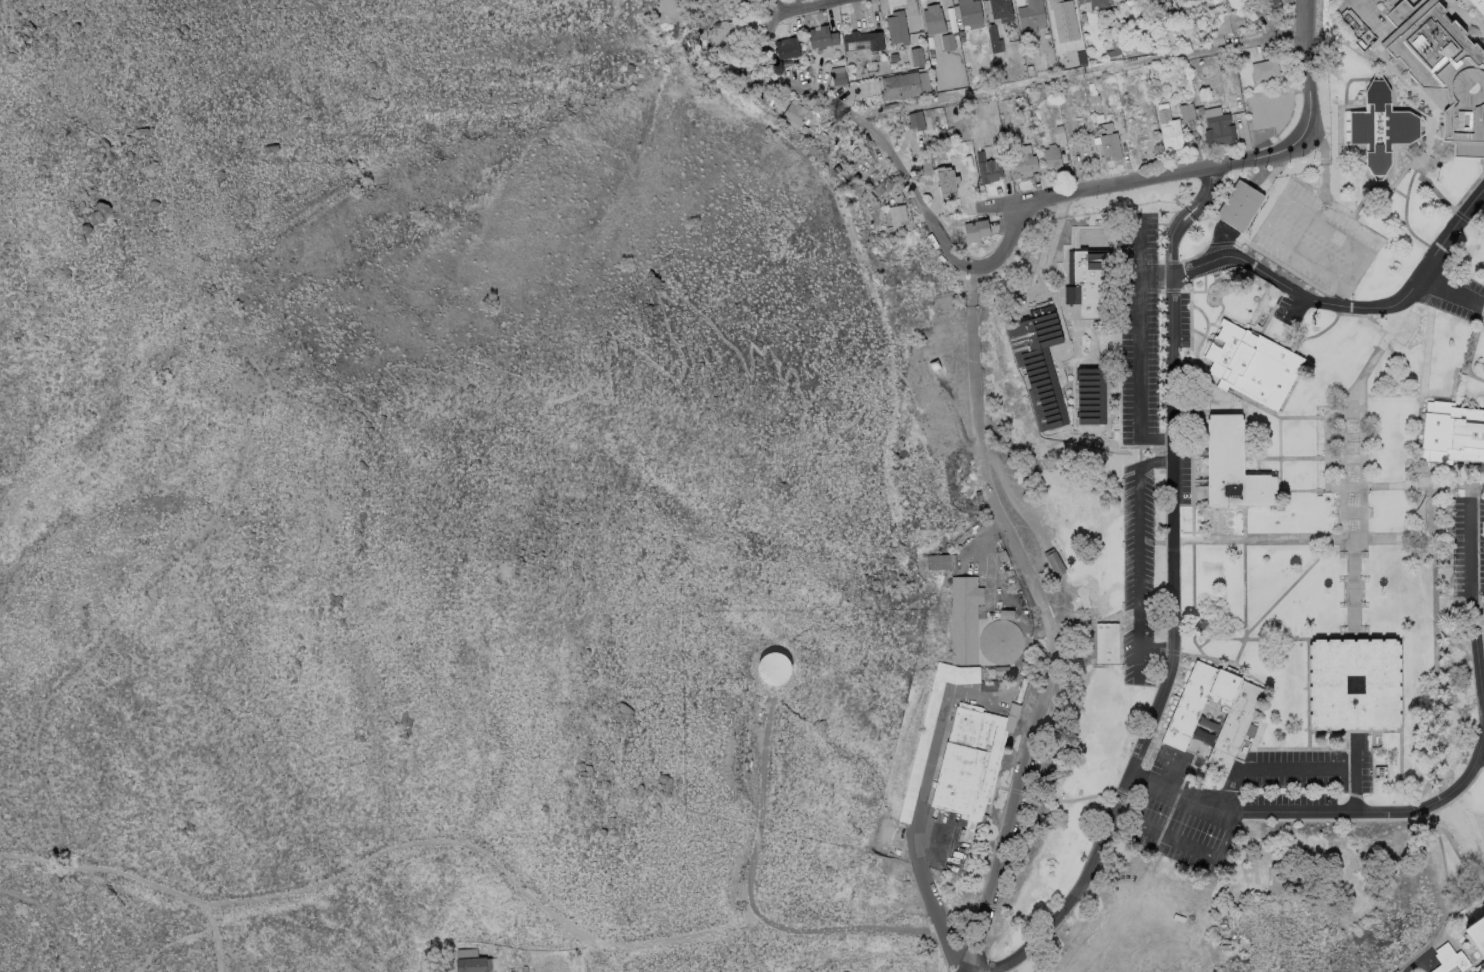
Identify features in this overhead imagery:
building: (1129, 0)
building: (1180, 0)
building: (1190, 0)
building: (1268, 1)
building: (1274, 2)
building: (1096, 3)
building: (748, 4)
building: (1479, 5)
road: (807, 8)
building: (1150, 9)
building: (971, 13)
road: (1469, 15)
building: (1168, 16)
road: (1373, 17)
building: (1031, 18)
building: (1159, 18)
building: (934, 20)
building: (998, 21)
building: (1194, 22)
building: (1226, 26)
building: (898, 28)
building: (726, 31)
building: (1153, 33)
building: (703, 34)
building: (800, 34)
building: (961, 34)
building: (822, 37)
building: (962, 39)
building: (864, 41)
building: (948, 42)
building: (788, 48)
building: (1113, 53)
building: (894, 57)
building: (917, 57)
building: (693, 59)
road: (1305, 65)
building: (700, 67)
building: (775, 68)
building: (728, 69)
building: (1265, 69)
building: (1442, 69)
building: (1204, 70)
building: (1030, 71)
building: (1103, 77)
building: (839, 79)
building: (900, 87)
building: (931, 94)
building: (1092, 94)
road: (680, 109)
building: (1199, 111)
building: (1187, 112)
building: (795, 113)
building: (1276, 113)
road: (853, 116)
building: (916, 121)
building: (1379, 127)
building: (804, 129)
building: (1060, 129)
building: (1220, 130)
building: (1170, 131)
building: (944, 135)
building: (1110, 142)
building: (849, 156)
building: (1052, 158)
building: (843, 159)
building: (1023, 162)
building: (989, 171)
road: (1325, 174)
building: (947, 180)
road: (1124, 184)
building: (884, 186)
road: (1390, 186)
road: (1429, 186)
road: (1203, 192)
road: (1468, 192)
road: (1283, 200)
building: (1239, 204)
road: (1061, 208)
building: (898, 215)
road: (1460, 216)
road: (1476, 226)
building: (976, 230)
road: (1077, 238)
parking lot: (1318, 238)
road: (1222, 241)
road: (1110, 246)
road: (1046, 252)
road: (1114, 253)
road: (858, 254)
road: (1205, 261)
road: (198, 270)
road: (1123, 277)
road: (1155, 277)
road: (669, 278)
road: (349, 279)
building: (1089, 280)
road: (1058, 281)
road: (1062, 286)
road: (1315, 287)
road: (1174, 290)
road: (1207, 292)
road: (1451, 293)
road: (1051, 294)
road: (1208, 294)
parking lot: (1459, 294)
road: (1342, 296)
fountain: (1212, 298)
road: (1309, 304)
road: (1347, 306)
parking lot: (1290, 309)
road: (1398, 311)
road: (1350, 314)
road: (1218, 315)
road: (1203, 317)
parking lot: (1184, 318)
road: (1267, 319)
road: (1376, 323)
road: (1139, 324)
parking lot: (1139, 327)
road: (1191, 330)
road: (1206, 336)
road: (230, 339)
road: (1474, 340)
road: (1077, 343)
road: (1281, 343)
road: (1296, 344)
road: (1066, 351)
building: (1037, 361)
road: (1084, 362)
road: (1202, 363)
building: (934, 364)
building: (1251, 364)
road: (1199, 365)
road: (1399, 367)
road: (748, 369)
road: (1108, 371)
road: (1455, 371)
road: (1363, 372)
road: (973, 376)
road: (936, 379)
road: (1121, 381)
road: (1201, 385)
road: (1421, 394)
building: (1091, 395)
road: (1382, 395)
road: (1433, 398)
road: (1346, 406)
road: (1264, 408)
parking lot: (1225, 409)
road: (1074, 413)
road: (1313, 417)
road: (957, 421)
road: (1114, 427)
road: (1080, 430)
road: (1057, 431)
building: (1452, 433)
road: (1334, 437)
road: (1352, 437)
road: (1110, 438)
road: (1279, 438)
road: (1254, 441)
road: (1179, 453)
road: (1326, 453)
road: (1199, 455)
road: (1248, 458)
road: (1302, 458)
road: (1334, 458)
road: (1352, 458)
building: (1232, 467)
road: (1467, 472)
road: (1448, 474)
road: (1363, 477)
road: (1342, 478)
parking lot: (1185, 481)
road: (1193, 481)
road: (1200, 481)
road: (1413, 485)
road: (1278, 490)
road: (1311, 490)
road: (1470, 492)
building: (1420, 510)
road: (1353, 512)
road: (1192, 520)
road: (1321, 540)
road: (1167, 542)
parking lot: (1468, 545)
road: (1469, 554)
building: (1002, 555)
road: (1137, 557)
building: (1054, 560)
building: (940, 561)
road: (1244, 572)
parking lot: (1138, 575)
road: (1353, 587)
road: (1289, 589)
road: (1478, 606)
building: (1483, 609)
road: (127, 611)
building: (1007, 615)
building: (963, 619)
road: (1172, 623)
road: (1217, 638)
road: (1260, 638)
road: (1307, 640)
building: (1106, 642)
building: (1000, 643)
road: (1477, 658)
road: (1138, 660)
building: (774, 667)
storage tank: (774, 667)
building: (1000, 670)
road: (1435, 675)
building: (1354, 682)
building: (1001, 685)
building: (1021, 689)
road: (1041, 706)
fountain: (1209, 720)
building: (1234, 723)
building: (1202, 736)
road: (1308, 739)
road: (1482, 748)
building: (920, 754)
building: (969, 763)
road: (1294, 768)
road: (1400, 768)
road: (1174, 778)
road: (1057, 798)
parking lot: (1245, 798)
road: (1326, 811)
road: (1420, 817)
road: (916, 836)
road: (1179, 841)
road: (1258, 849)
road: (388, 851)
road: (1459, 858)
road: (1444, 870)
park: (1310, 879)
road: (749, 894)
road: (1467, 902)
road: (1447, 921)
building: (1476, 935)
road: (215, 939)
road: (1439, 939)
road: (174, 946)
road: (1461, 950)
building: (1449, 960)
road: (1414, 963)
building: (474, 965)
road: (1481, 970)

